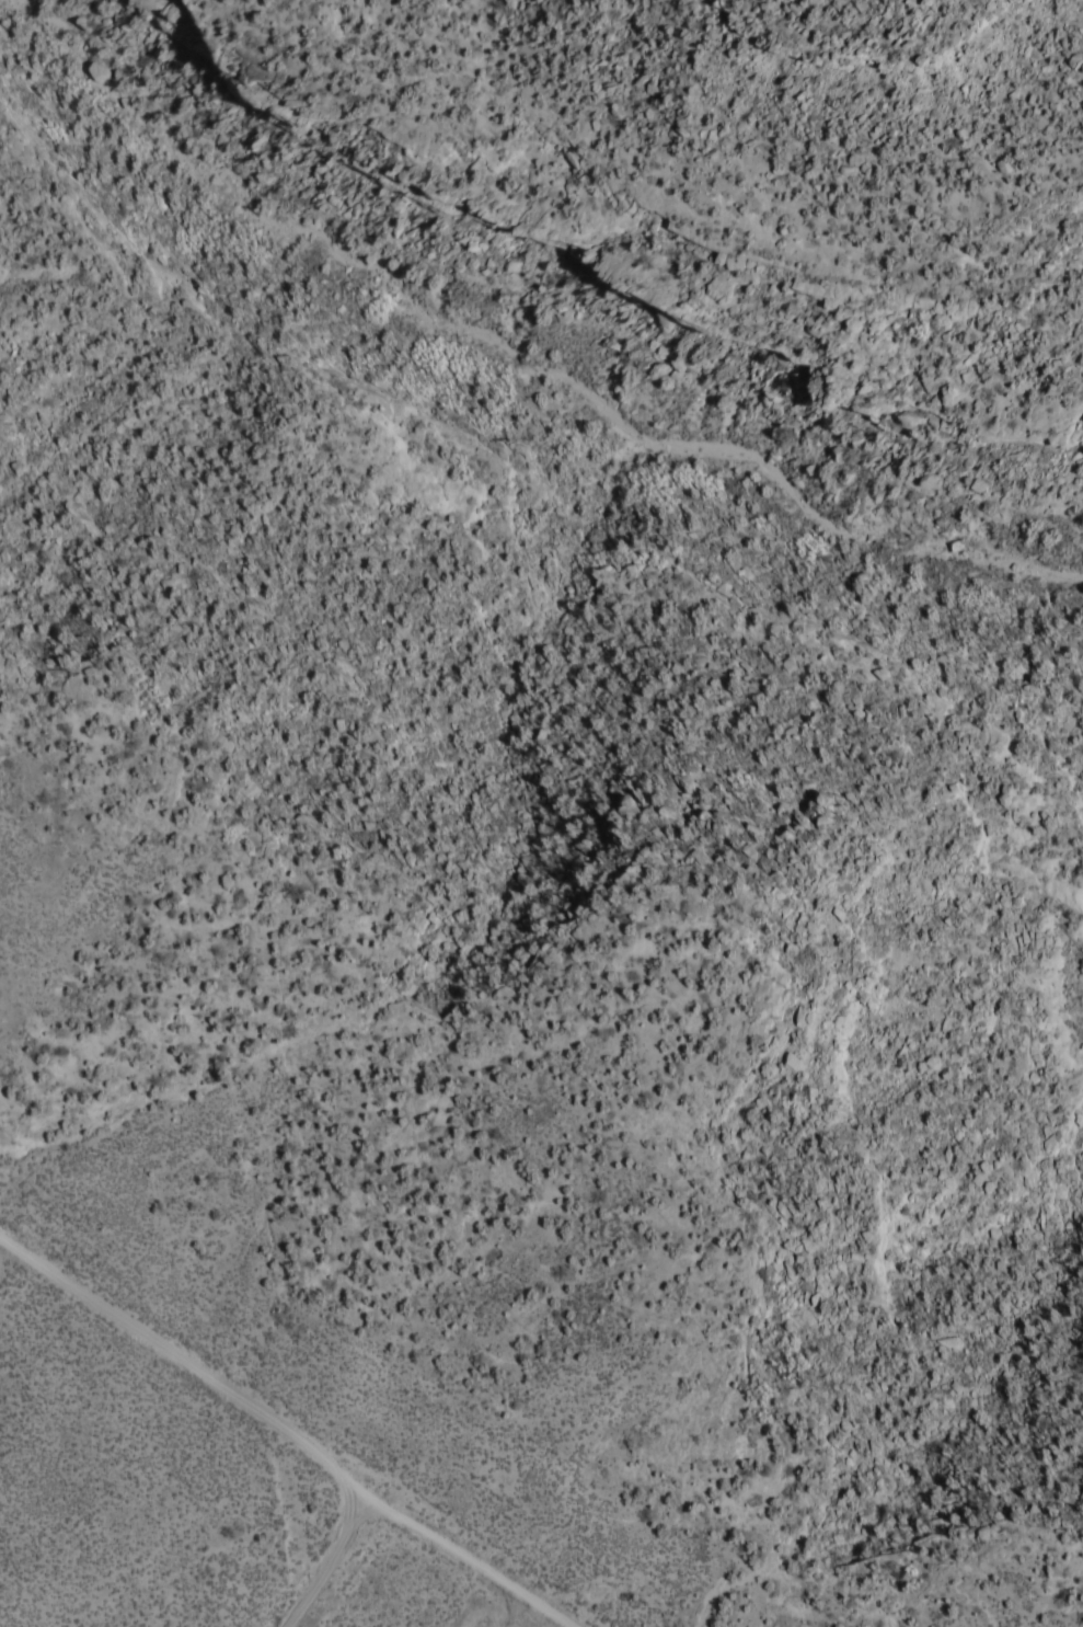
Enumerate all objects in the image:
road: (257, 1444)
road: (333, 1572)

